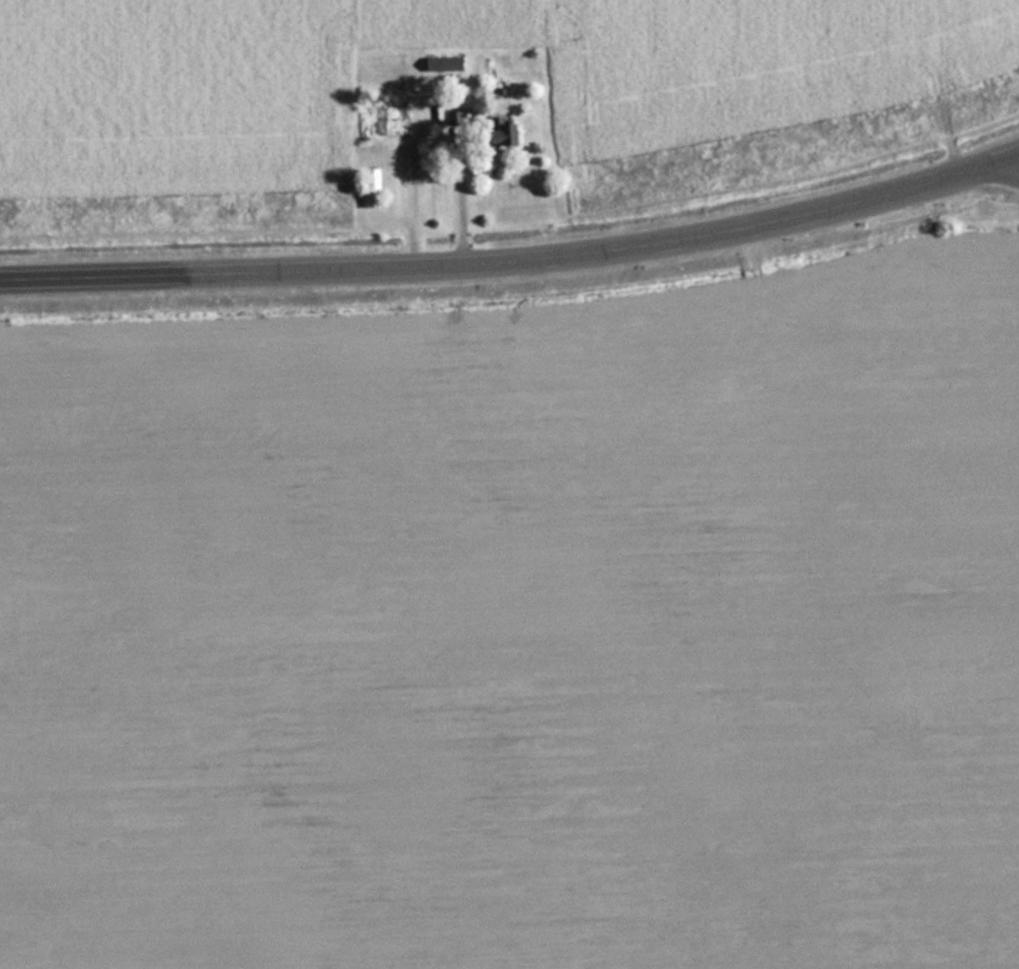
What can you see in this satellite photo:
building: (447, 65)
building: (456, 119)
building: (395, 121)
building: (513, 133)
building: (375, 188)
road: (515, 260)

